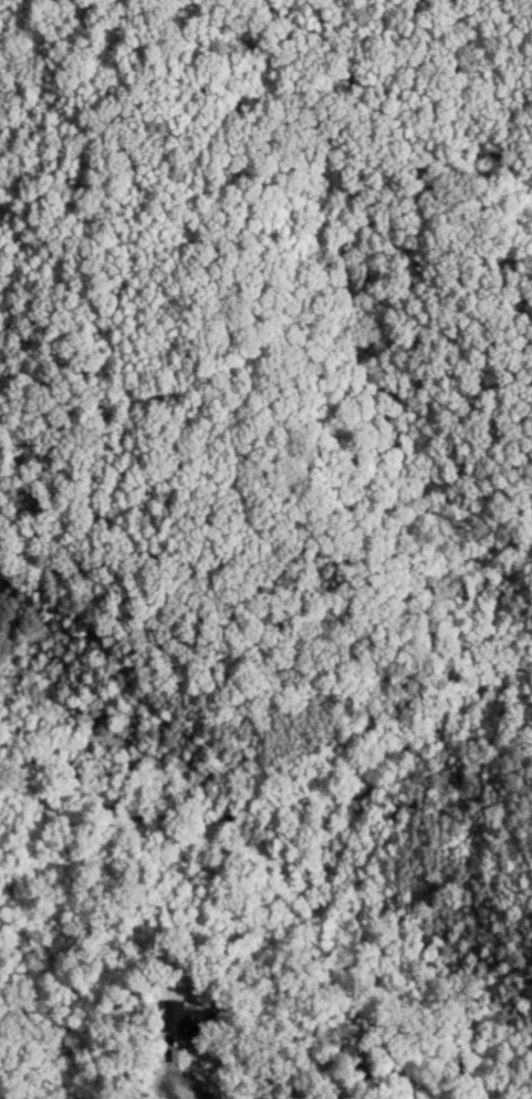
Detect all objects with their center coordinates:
building: (187, 1022)
road: (185, 1092)

